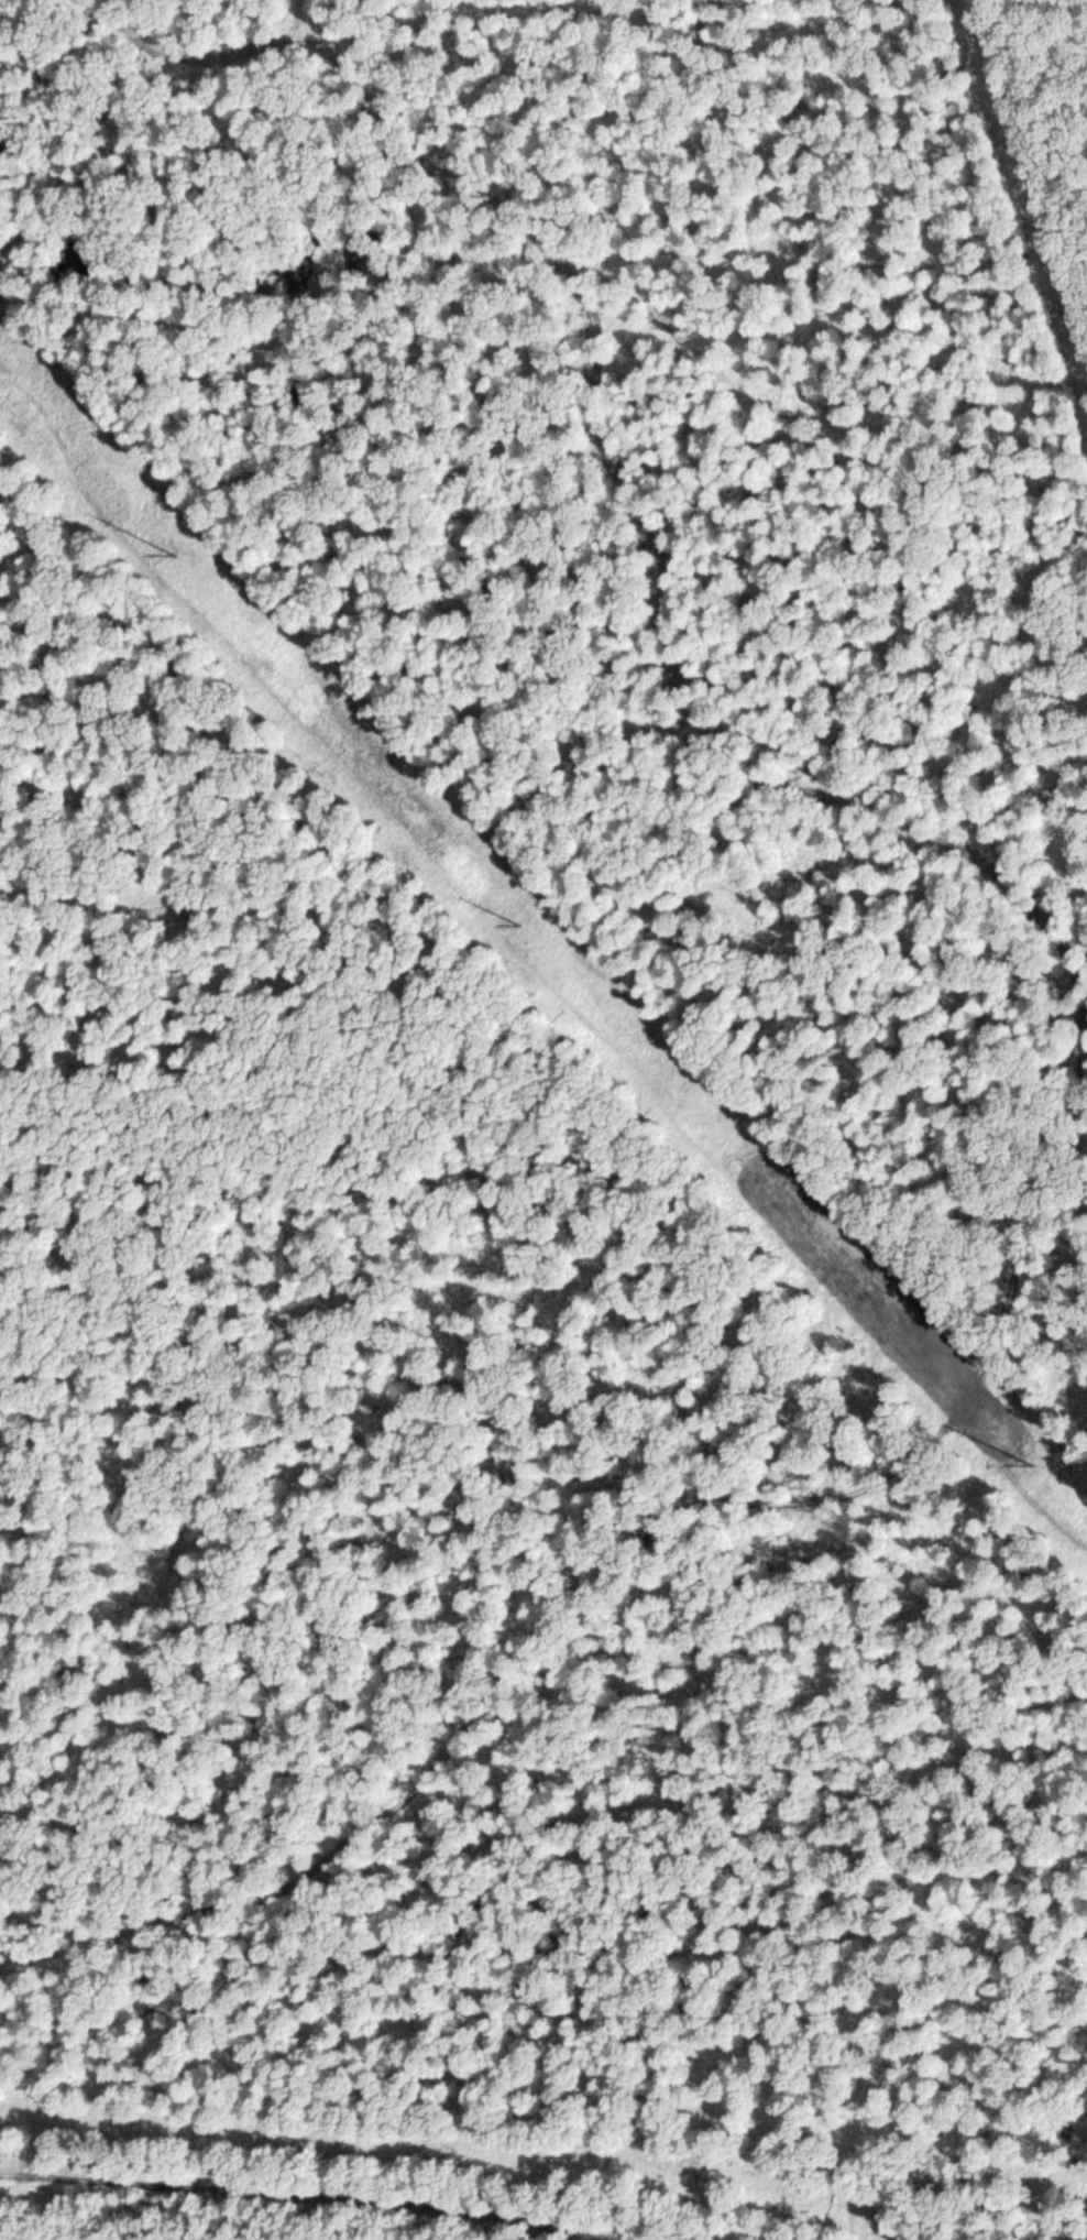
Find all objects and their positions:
power tower: (175, 548)
power tower: (519, 909)
power tower: (1026, 1452)

